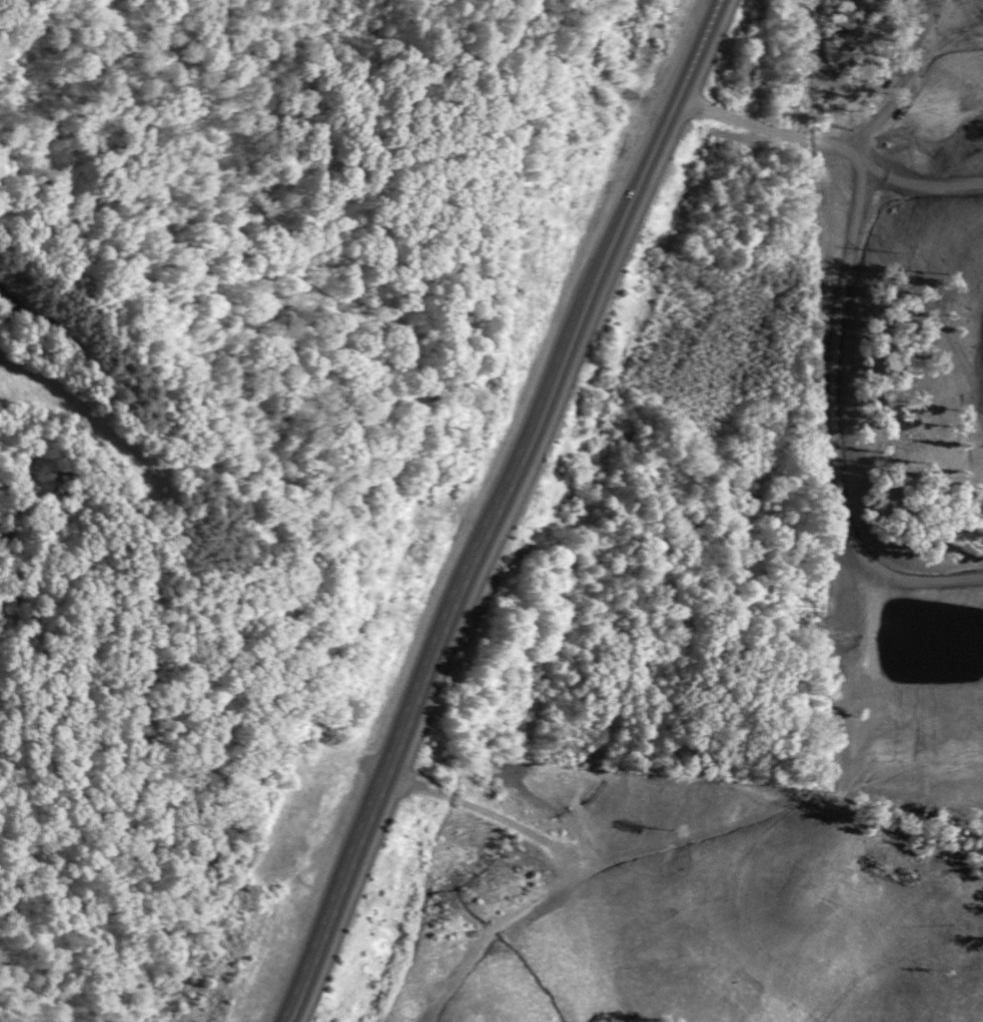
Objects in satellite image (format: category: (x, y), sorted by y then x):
road: (505, 511)

